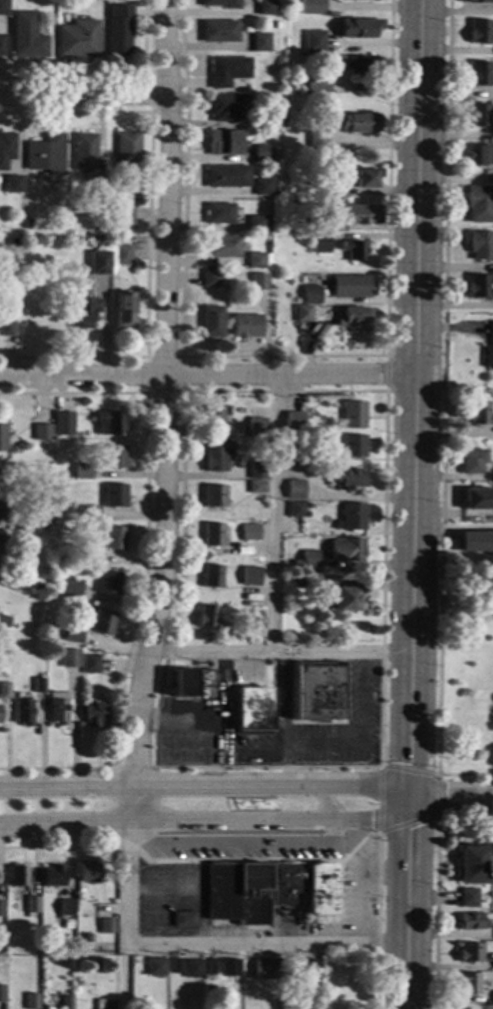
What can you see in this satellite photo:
building: (478, 1)
building: (219, 3)
building: (3, 7)
building: (264, 7)
building: (320, 7)
building: (278, 10)
building: (276, 24)
building: (358, 27)
building: (117, 29)
building: (217, 31)
building: (478, 31)
building: (25, 36)
building: (76, 39)
building: (313, 41)
building: (258, 42)
building: (1, 44)
building: (357, 64)
building: (226, 70)
building: (478, 73)
road: (110, 77)
building: (316, 83)
road: (82, 95)
road: (146, 95)
building: (227, 106)
building: (477, 114)
building: (273, 117)
building: (360, 123)
building: (316, 140)
building: (222, 142)
building: (5, 147)
building: (125, 150)
building: (82, 152)
building: (260, 152)
building: (43, 154)
building: (479, 154)
building: (225, 176)
building: (364, 177)
building: (11, 183)
building: (261, 187)
building: (333, 187)
building: (95, 193)
building: (479, 203)
building: (218, 213)
building: (360, 214)
building: (123, 216)
building: (254, 223)
building: (317, 224)
road: (148, 233)
building: (13, 240)
building: (319, 243)
building: (479, 244)
building: (222, 246)
building: (353, 249)
building: (121, 254)
building: (254, 260)
building: (99, 270)
building: (210, 278)
building: (257, 281)
building: (53, 283)
building: (479, 285)
building: (348, 286)
building: (310, 294)
building: (123, 310)
building: (82, 311)
building: (5, 312)
building: (301, 313)
building: (352, 315)
building: (211, 321)
building: (245, 325)
building: (488, 350)
road: (282, 357)
road: (386, 374)
road: (210, 376)
road: (180, 393)
road: (420, 397)
road: (181, 405)
building: (477, 413)
building: (352, 414)
road: (442, 414)
road: (164, 415)
building: (211, 418)
building: (293, 420)
building: (61, 423)
building: (110, 423)
building: (255, 426)
building: (41, 432)
building: (2, 438)
building: (352, 446)
building: (44, 455)
building: (215, 455)
building: (114, 456)
building: (295, 458)
building: (470, 460)
building: (255, 470)
building: (81, 471)
building: (343, 477)
building: (255, 487)
building: (293, 489)
building: (113, 495)
building: (212, 495)
building: (1, 498)
building: (476, 498)
building: (294, 509)
building: (89, 513)
road: (272, 514)
building: (352, 516)
building: (44, 519)
building: (163, 523)
building: (248, 532)
building: (211, 534)
building: (113, 537)
building: (2, 540)
building: (475, 540)
building: (346, 549)
building: (86, 555)
building: (305, 560)
road: (145, 567)
building: (210, 575)
building: (248, 576)
building: (310, 580)
building: (107, 582)
building: (69, 587)
building: (344, 598)
building: (206, 616)
building: (252, 619)
building: (3, 620)
building: (101, 621)
building: (72, 635)
road: (280, 653)
building: (69, 658)
building: (89, 664)
park: (462, 674)
building: (190, 682)
building: (37, 686)
road: (219, 687)
building: (3, 690)
building: (316, 692)
road: (361, 698)
road: (284, 699)
building: (57, 707)
building: (251, 708)
building: (22, 712)
building: (93, 714)
road: (190, 720)
road: (350, 744)
road: (249, 754)
road: (285, 766)
road: (213, 771)
road: (207, 788)
road: (155, 794)
traffic signals: (415, 795)
road: (454, 795)
road: (324, 805)
road: (379, 821)
road: (211, 825)
road: (236, 841)
parking lot: (244, 845)
road: (280, 860)
building: (471, 864)
building: (87, 872)
building: (17, 876)
building: (52, 876)
road: (362, 881)
building: (285, 883)
road: (190, 890)
building: (320, 890)
parking lot: (358, 891)
building: (237, 893)
parking lot: (168, 895)
building: (467, 897)
road: (338, 901)
road: (412, 901)
building: (31, 904)
building: (65, 907)
building: (1, 908)
road: (435, 912)
building: (183, 919)
building: (471, 922)
building: (106, 926)
building: (86, 938)
road: (210, 942)
building: (469, 952)
building: (93, 965)
building: (211, 965)
building: (155, 966)
building: (176, 966)
building: (306, 966)
building: (229, 967)
building: (330, 967)
building: (192, 968)
building: (286, 968)
building: (264, 969)
road: (121, 973)
building: (468, 983)
building: (492, 991)
building: (1, 993)
building: (30, 1001)
building: (66, 1002)
building: (104, 1003)
building: (461, 1008)

